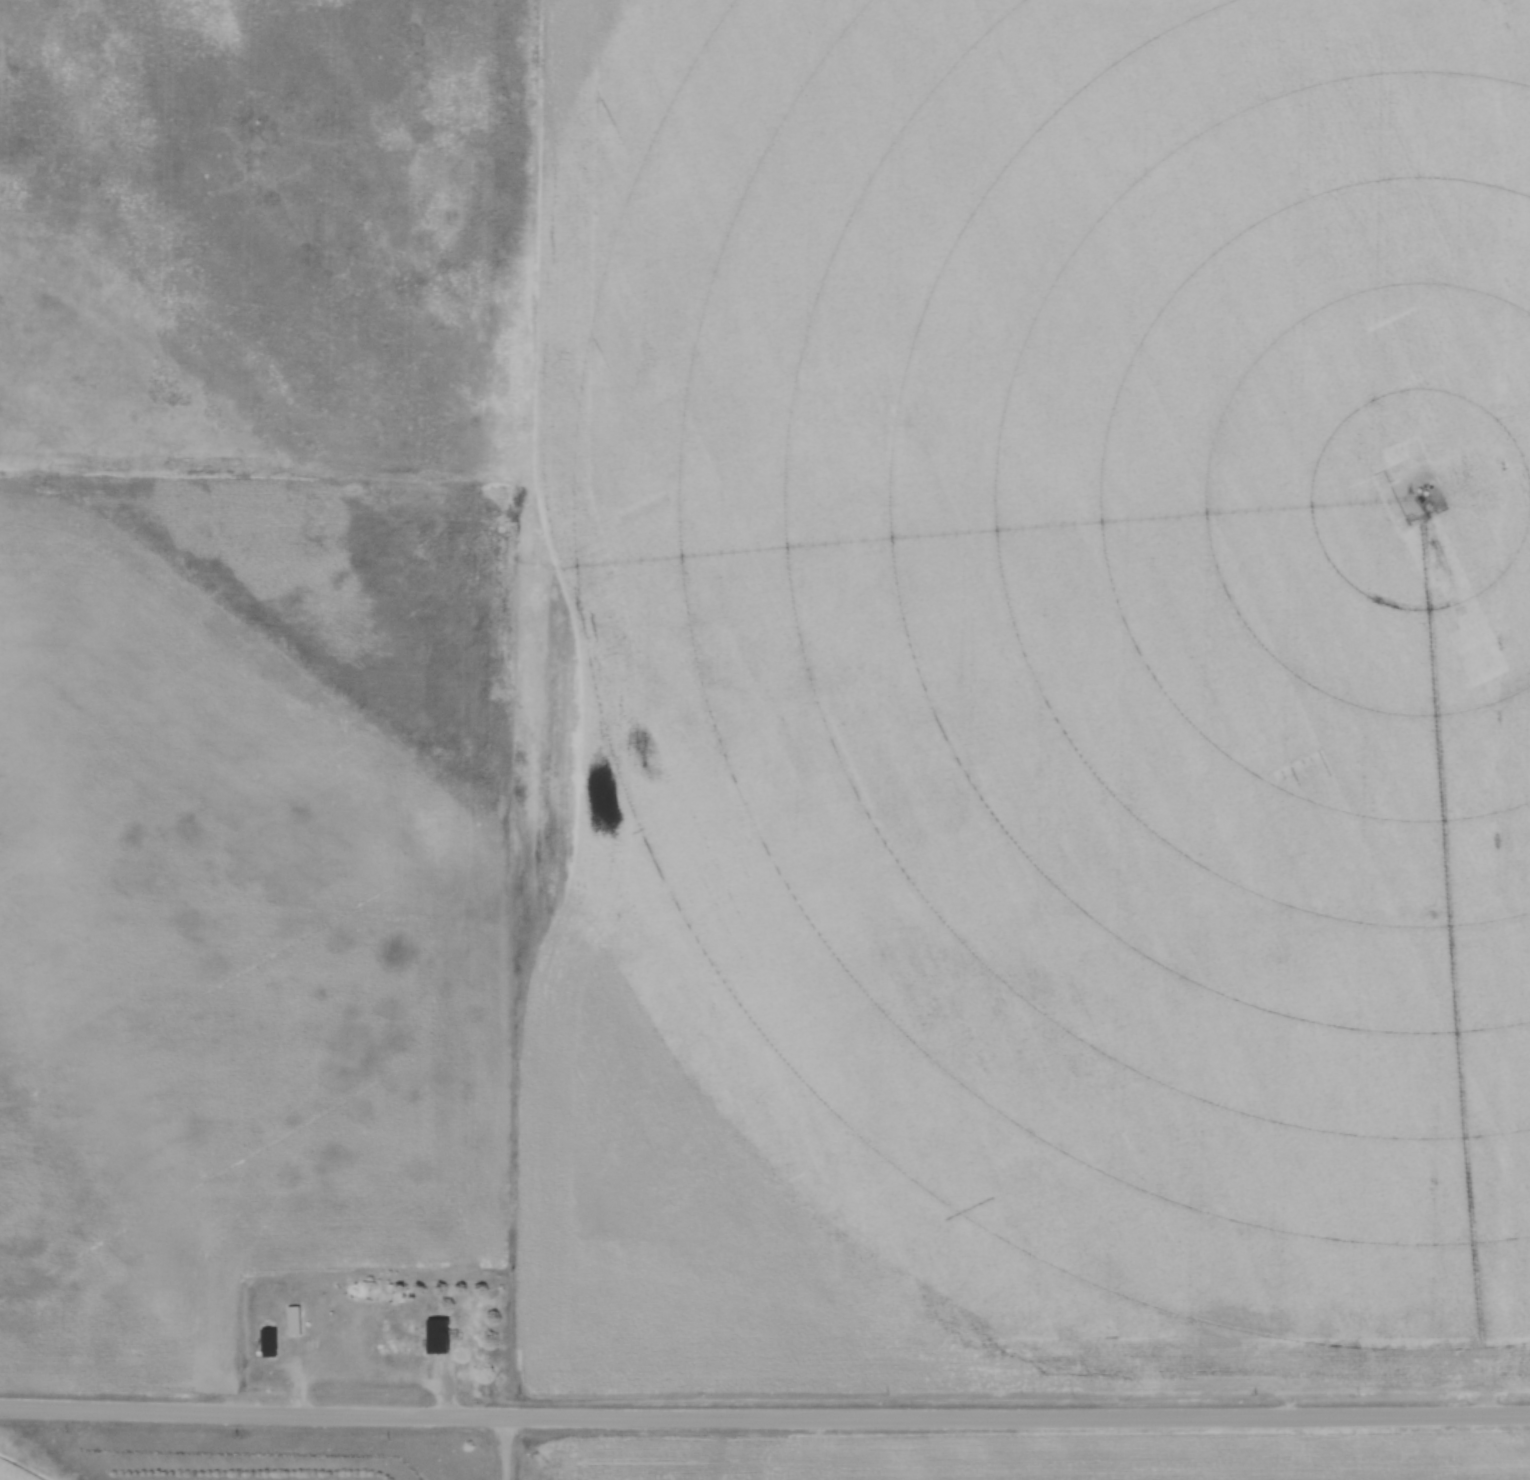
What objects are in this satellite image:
building: (438, 1338)
building: (269, 1344)
road: (764, 1418)
road: (504, 1449)

